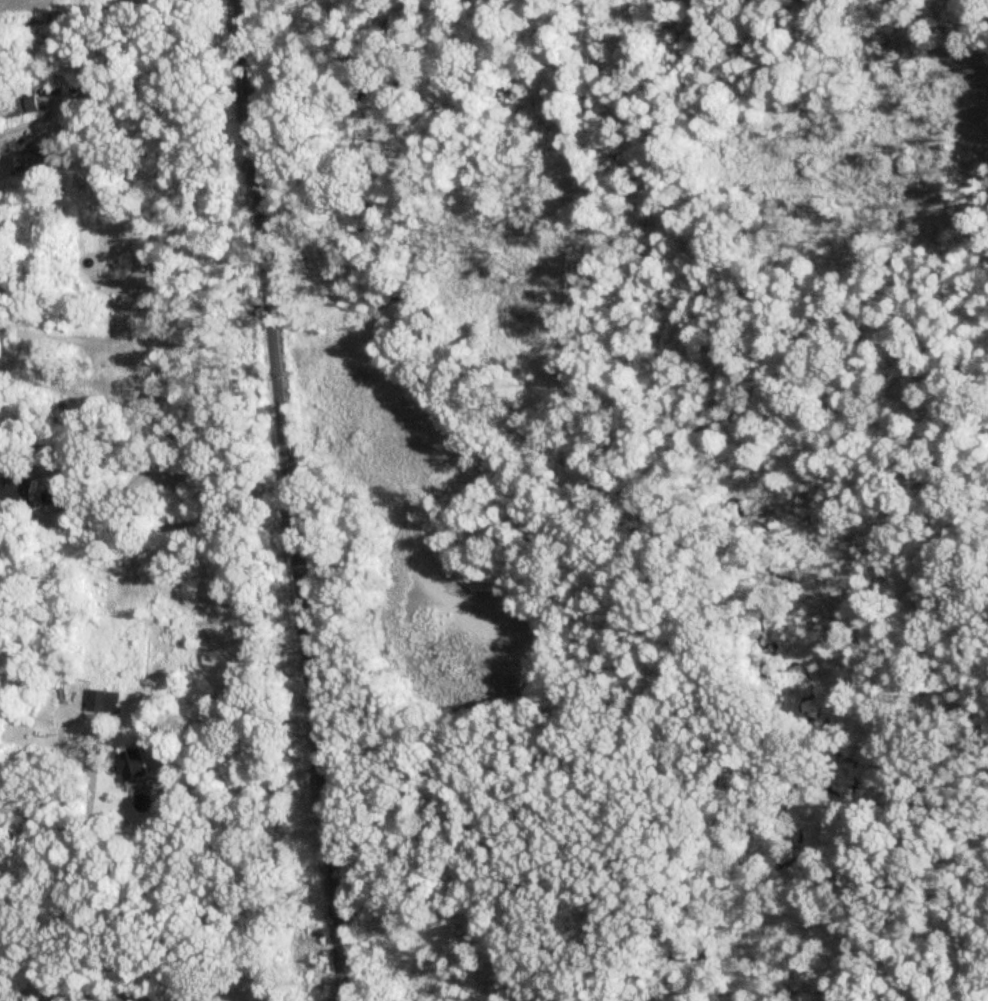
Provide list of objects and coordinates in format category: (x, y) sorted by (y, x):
building: (20, 106)
road: (33, 120)
building: (37, 158)
building: (16, 489)
road: (287, 500)
building: (104, 702)
building: (132, 766)
road: (72, 867)
road: (136, 1000)

